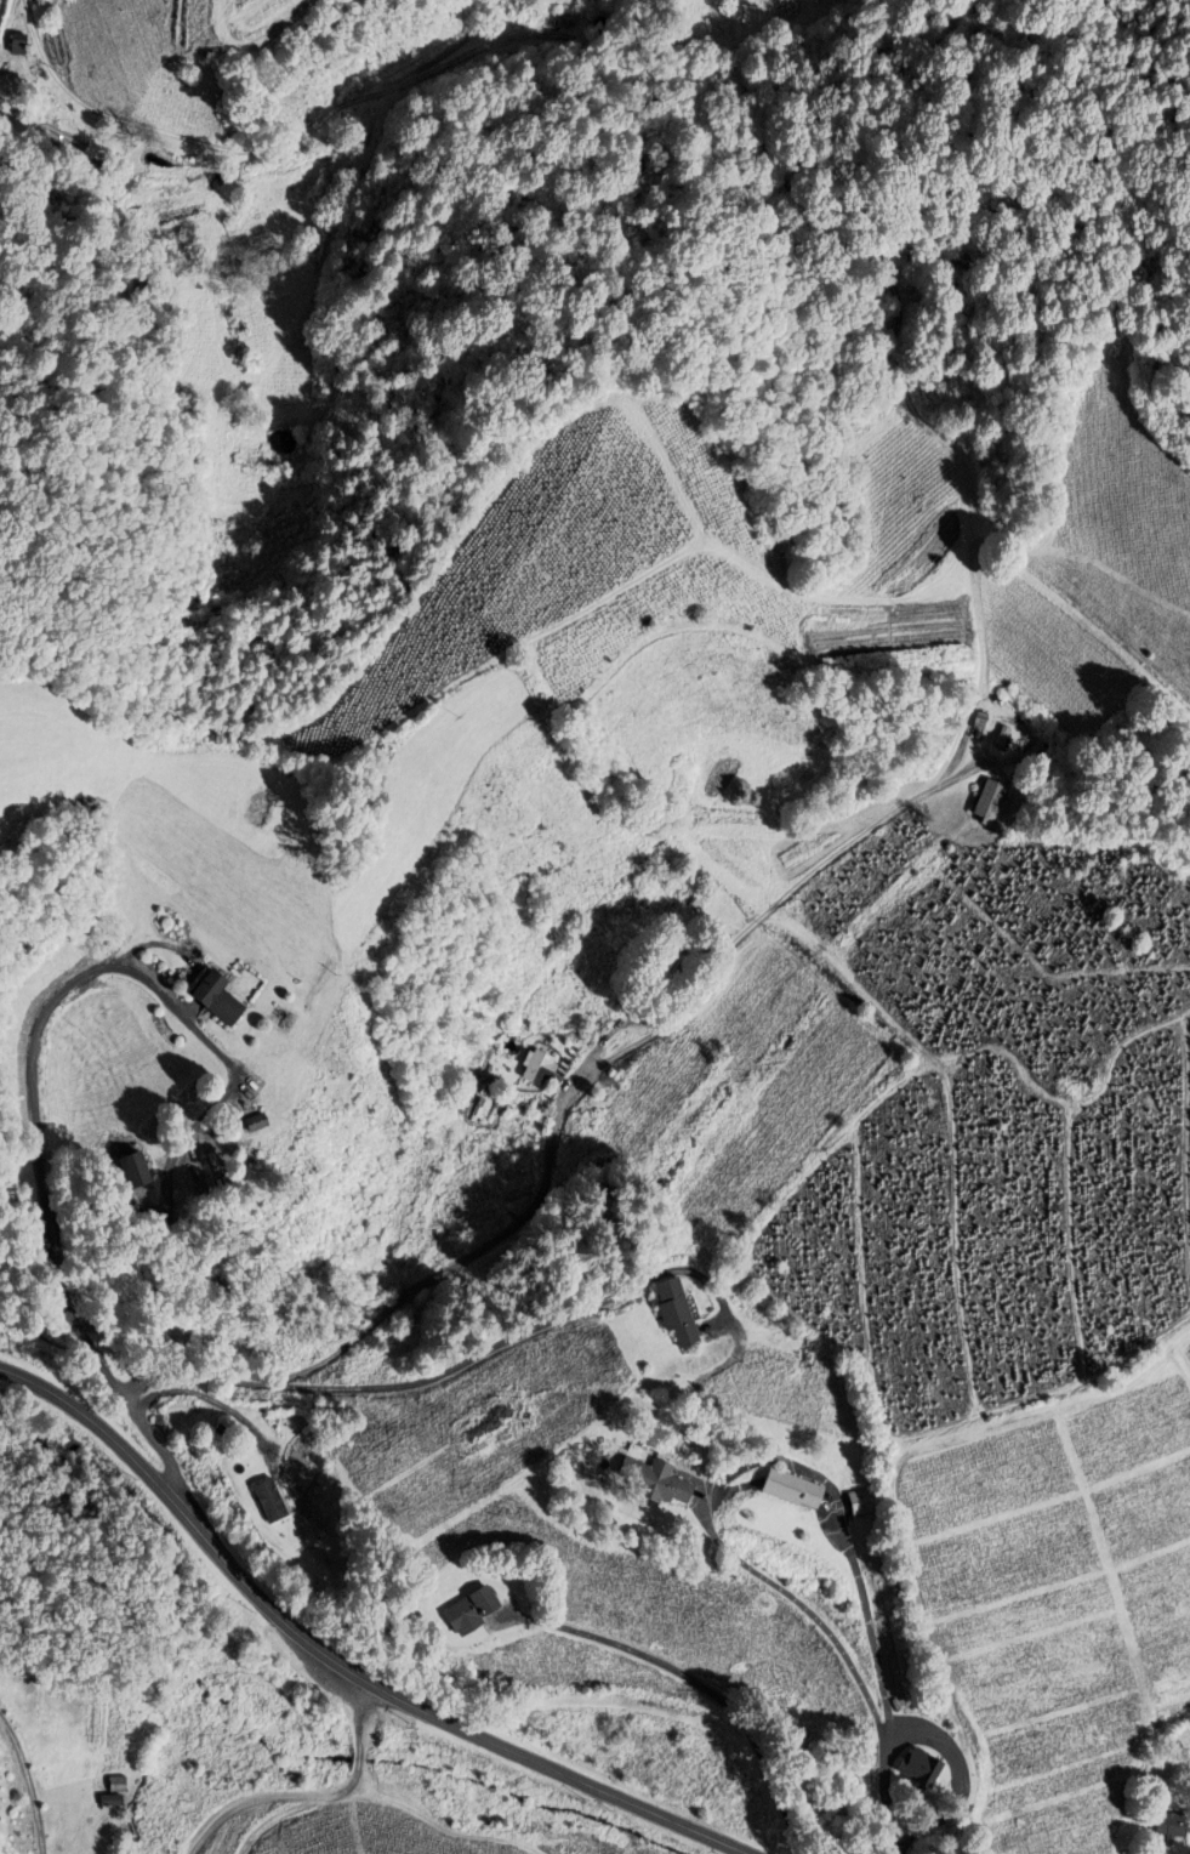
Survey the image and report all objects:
building: (978, 801)
building: (664, 965)
building: (220, 999)
building: (275, 1017)
building: (535, 1067)
road: (602, 1068)
road: (36, 1094)
road: (588, 1307)
building: (651, 1308)
building: (417, 1337)
road: (210, 1376)
road: (748, 1466)
building: (655, 1480)
building: (788, 1489)
building: (278, 1500)
road: (267, 1606)
building: (478, 1610)
road: (888, 1736)
road: (939, 1744)
building: (923, 1773)
road: (28, 1784)
building: (108, 1785)
road: (315, 1795)
road: (887, 1801)
road: (662, 1819)
building: (1168, 1824)
building: (24, 1853)

